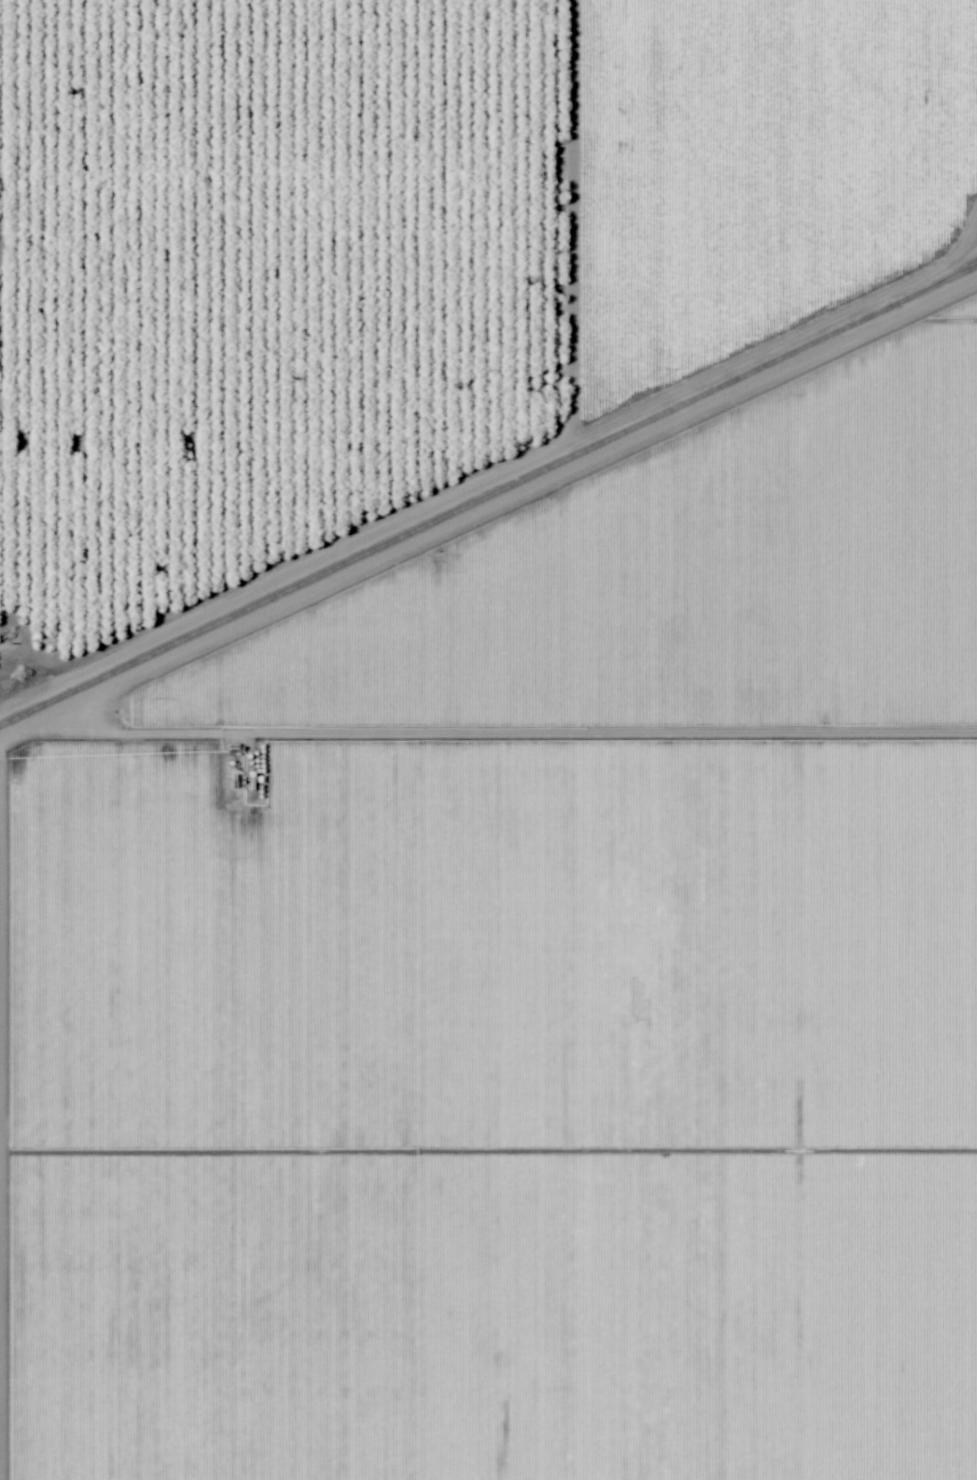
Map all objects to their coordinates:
crop: (259, 226)
railway: (948, 272)
railway: (488, 493)
crop: (628, 576)
road: (488, 725)
crop: (488, 1101)

